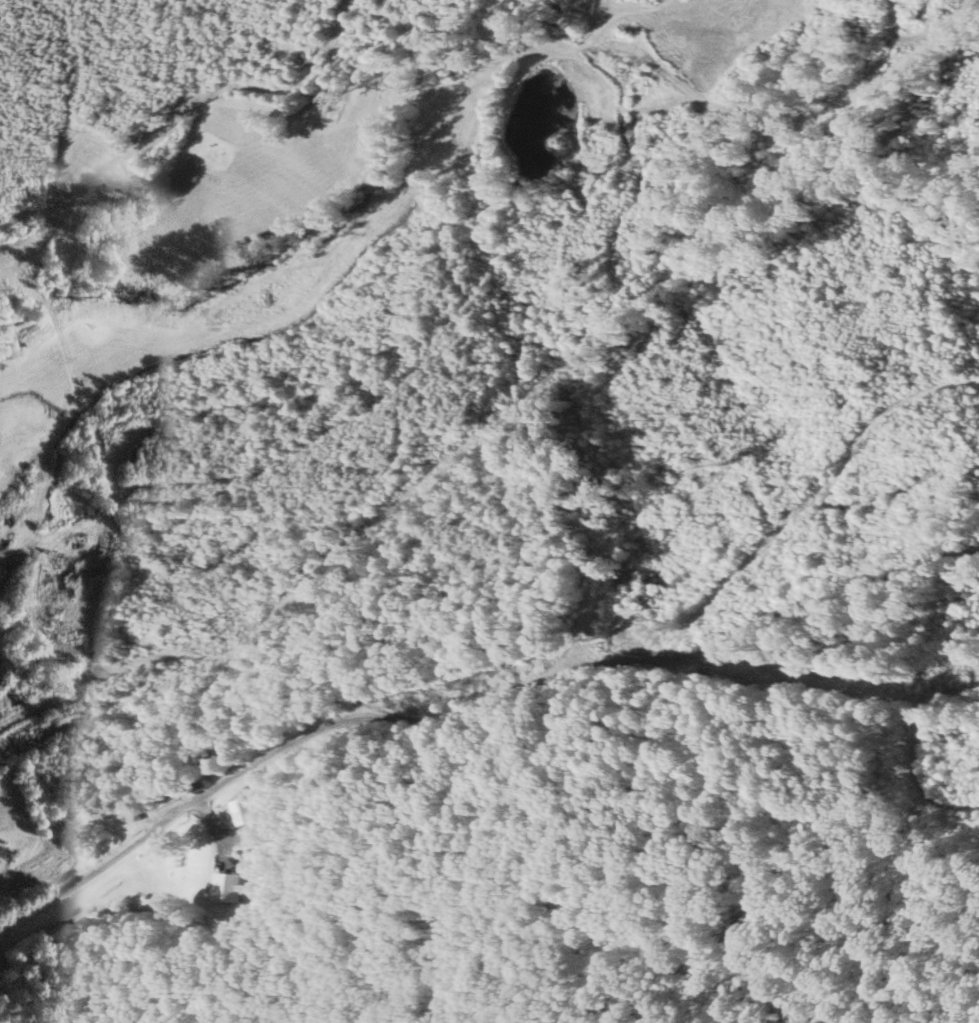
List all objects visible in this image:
road: (473, 707)
road: (910, 732)
building: (240, 810)
building: (223, 885)

